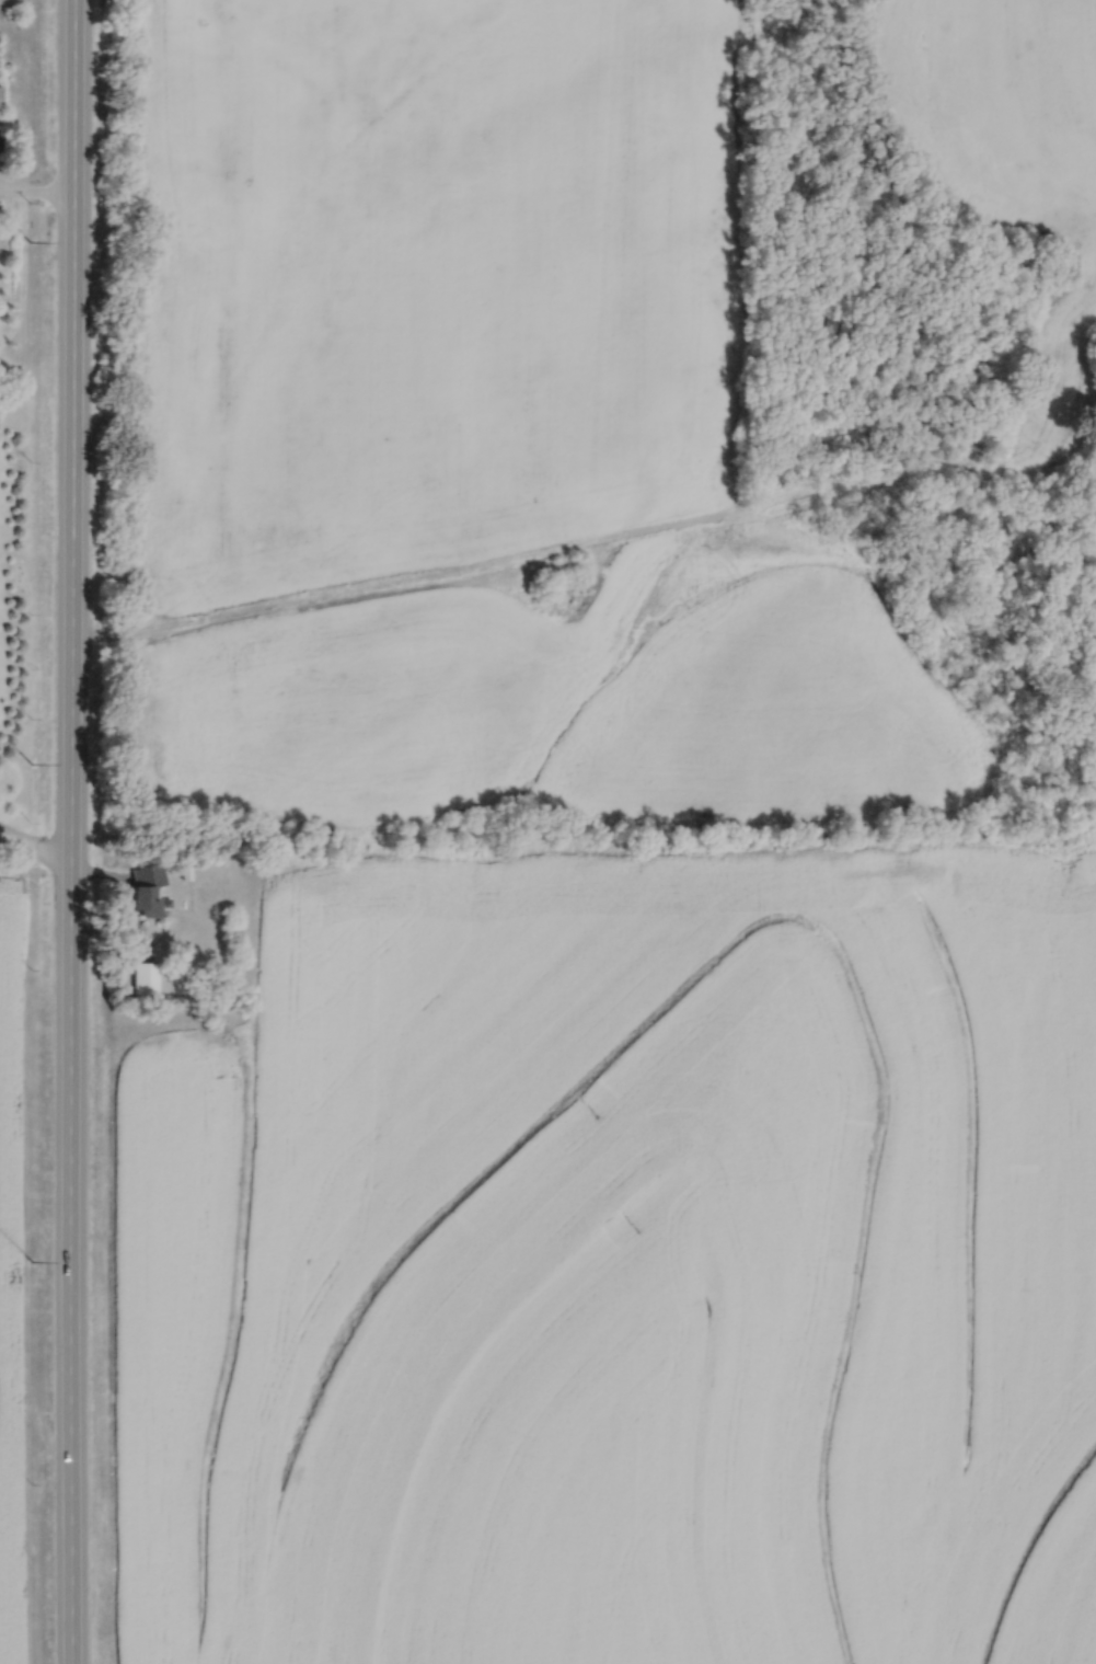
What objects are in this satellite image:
road: (36, 195)
power tower: (28, 242)
road: (541, 551)
building: (552, 588)
power tower: (30, 762)
road: (1, 831)
road: (70, 831)
road: (1, 833)
road: (35, 847)
road: (101, 871)
building: (142, 888)
building: (142, 978)
power tower: (31, 1262)

